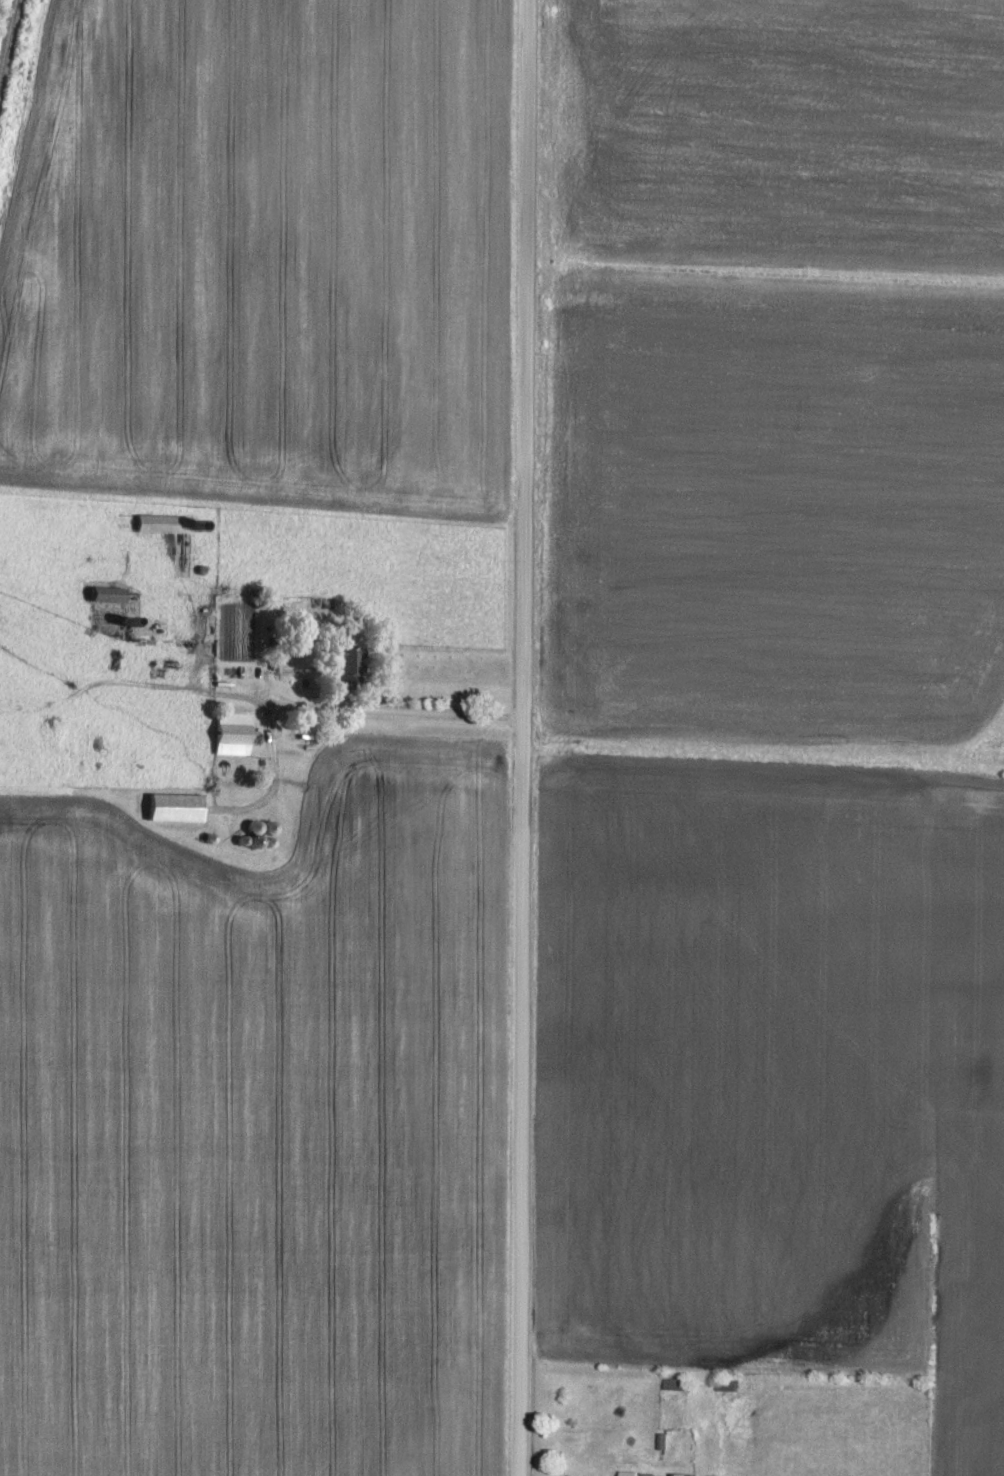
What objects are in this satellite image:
railway: (9, 43)
building: (164, 522)
building: (108, 592)
building: (350, 664)
road: (364, 711)
building: (233, 731)
road: (519, 737)
building: (177, 806)
road: (667, 1469)
building: (630, 1472)
building: (684, 1473)

